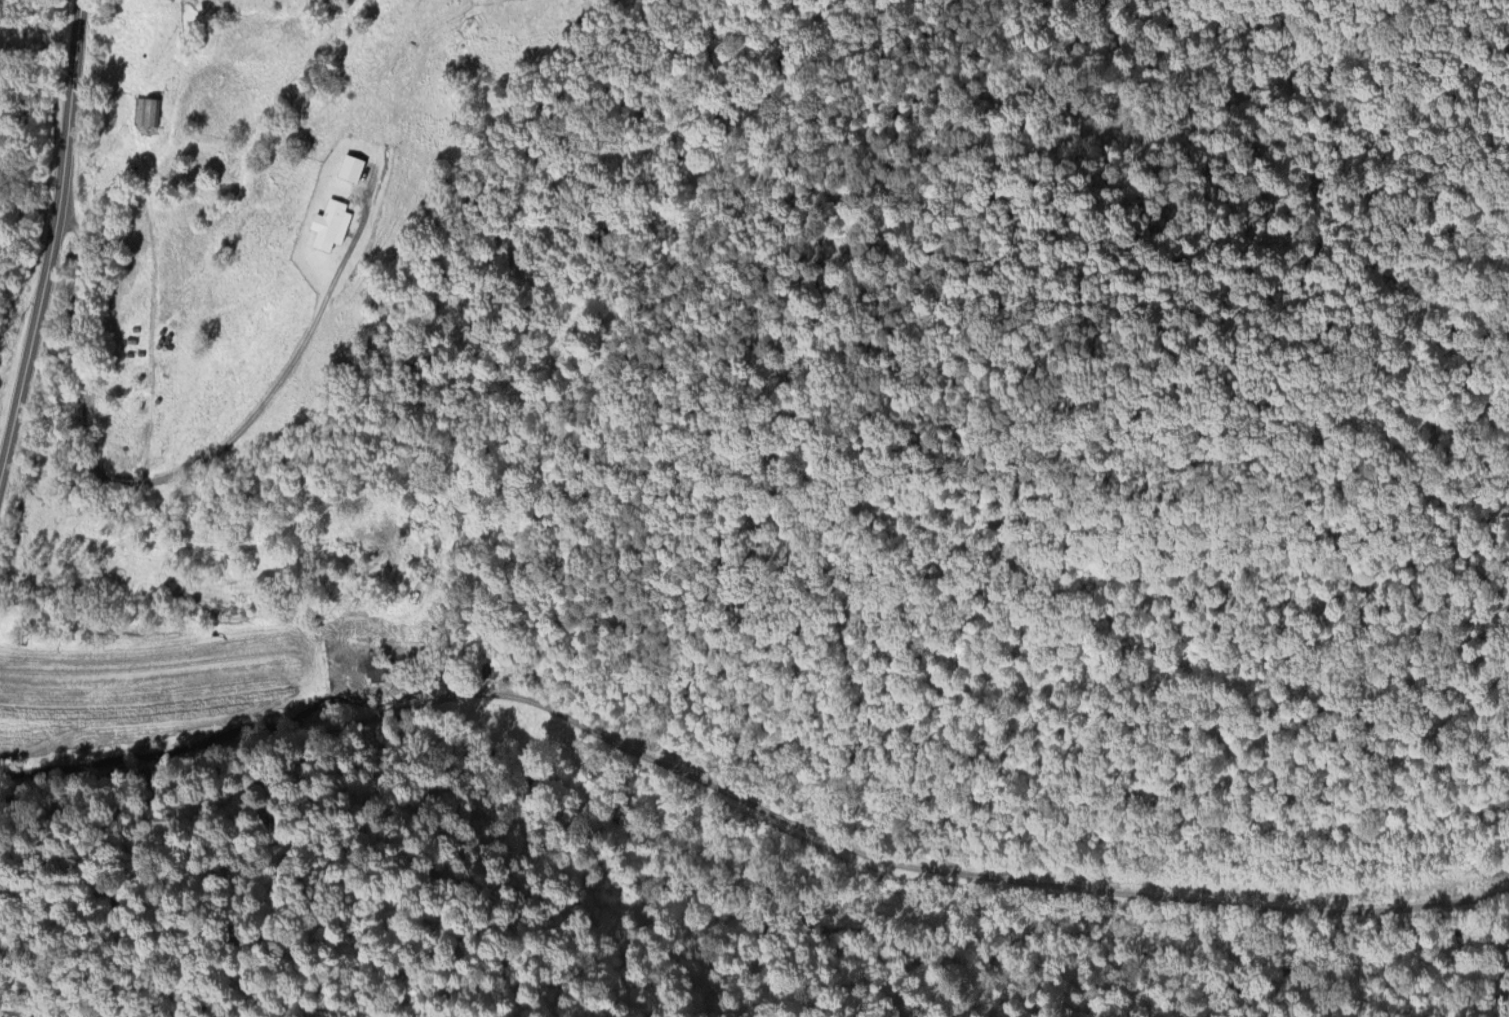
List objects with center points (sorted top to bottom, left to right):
building: (145, 112)
building: (353, 166)
building: (330, 221)
road: (51, 242)
road: (152, 293)
road: (78, 360)
road: (278, 382)
building: (380, 664)
road: (383, 714)
road: (184, 762)
road: (936, 870)

